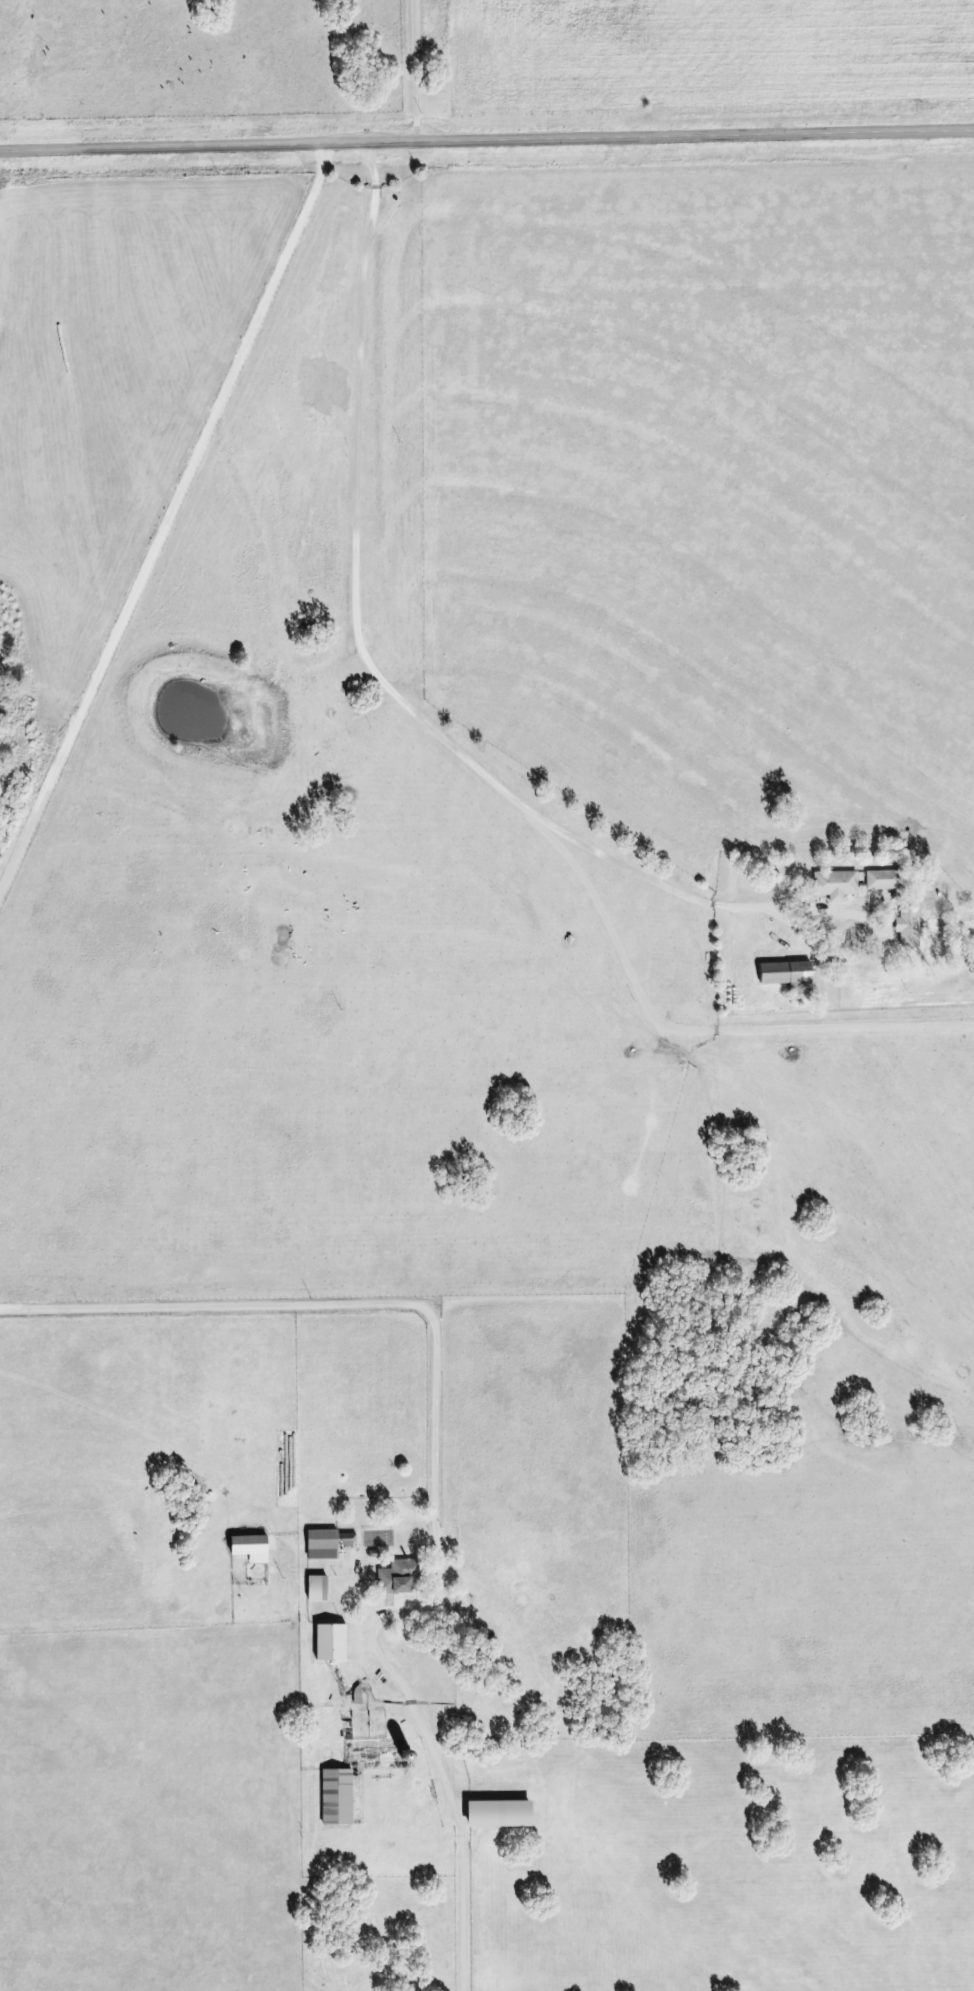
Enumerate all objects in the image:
road: (486, 139)
road: (169, 517)
road: (412, 678)
building: (883, 879)
building: (836, 884)
building: (909, 927)
building: (788, 975)
road: (283, 1328)
building: (328, 1542)
building: (252, 1547)
building: (399, 1576)
building: (318, 1587)
building: (332, 1641)
building: (338, 1796)
building: (501, 1813)

